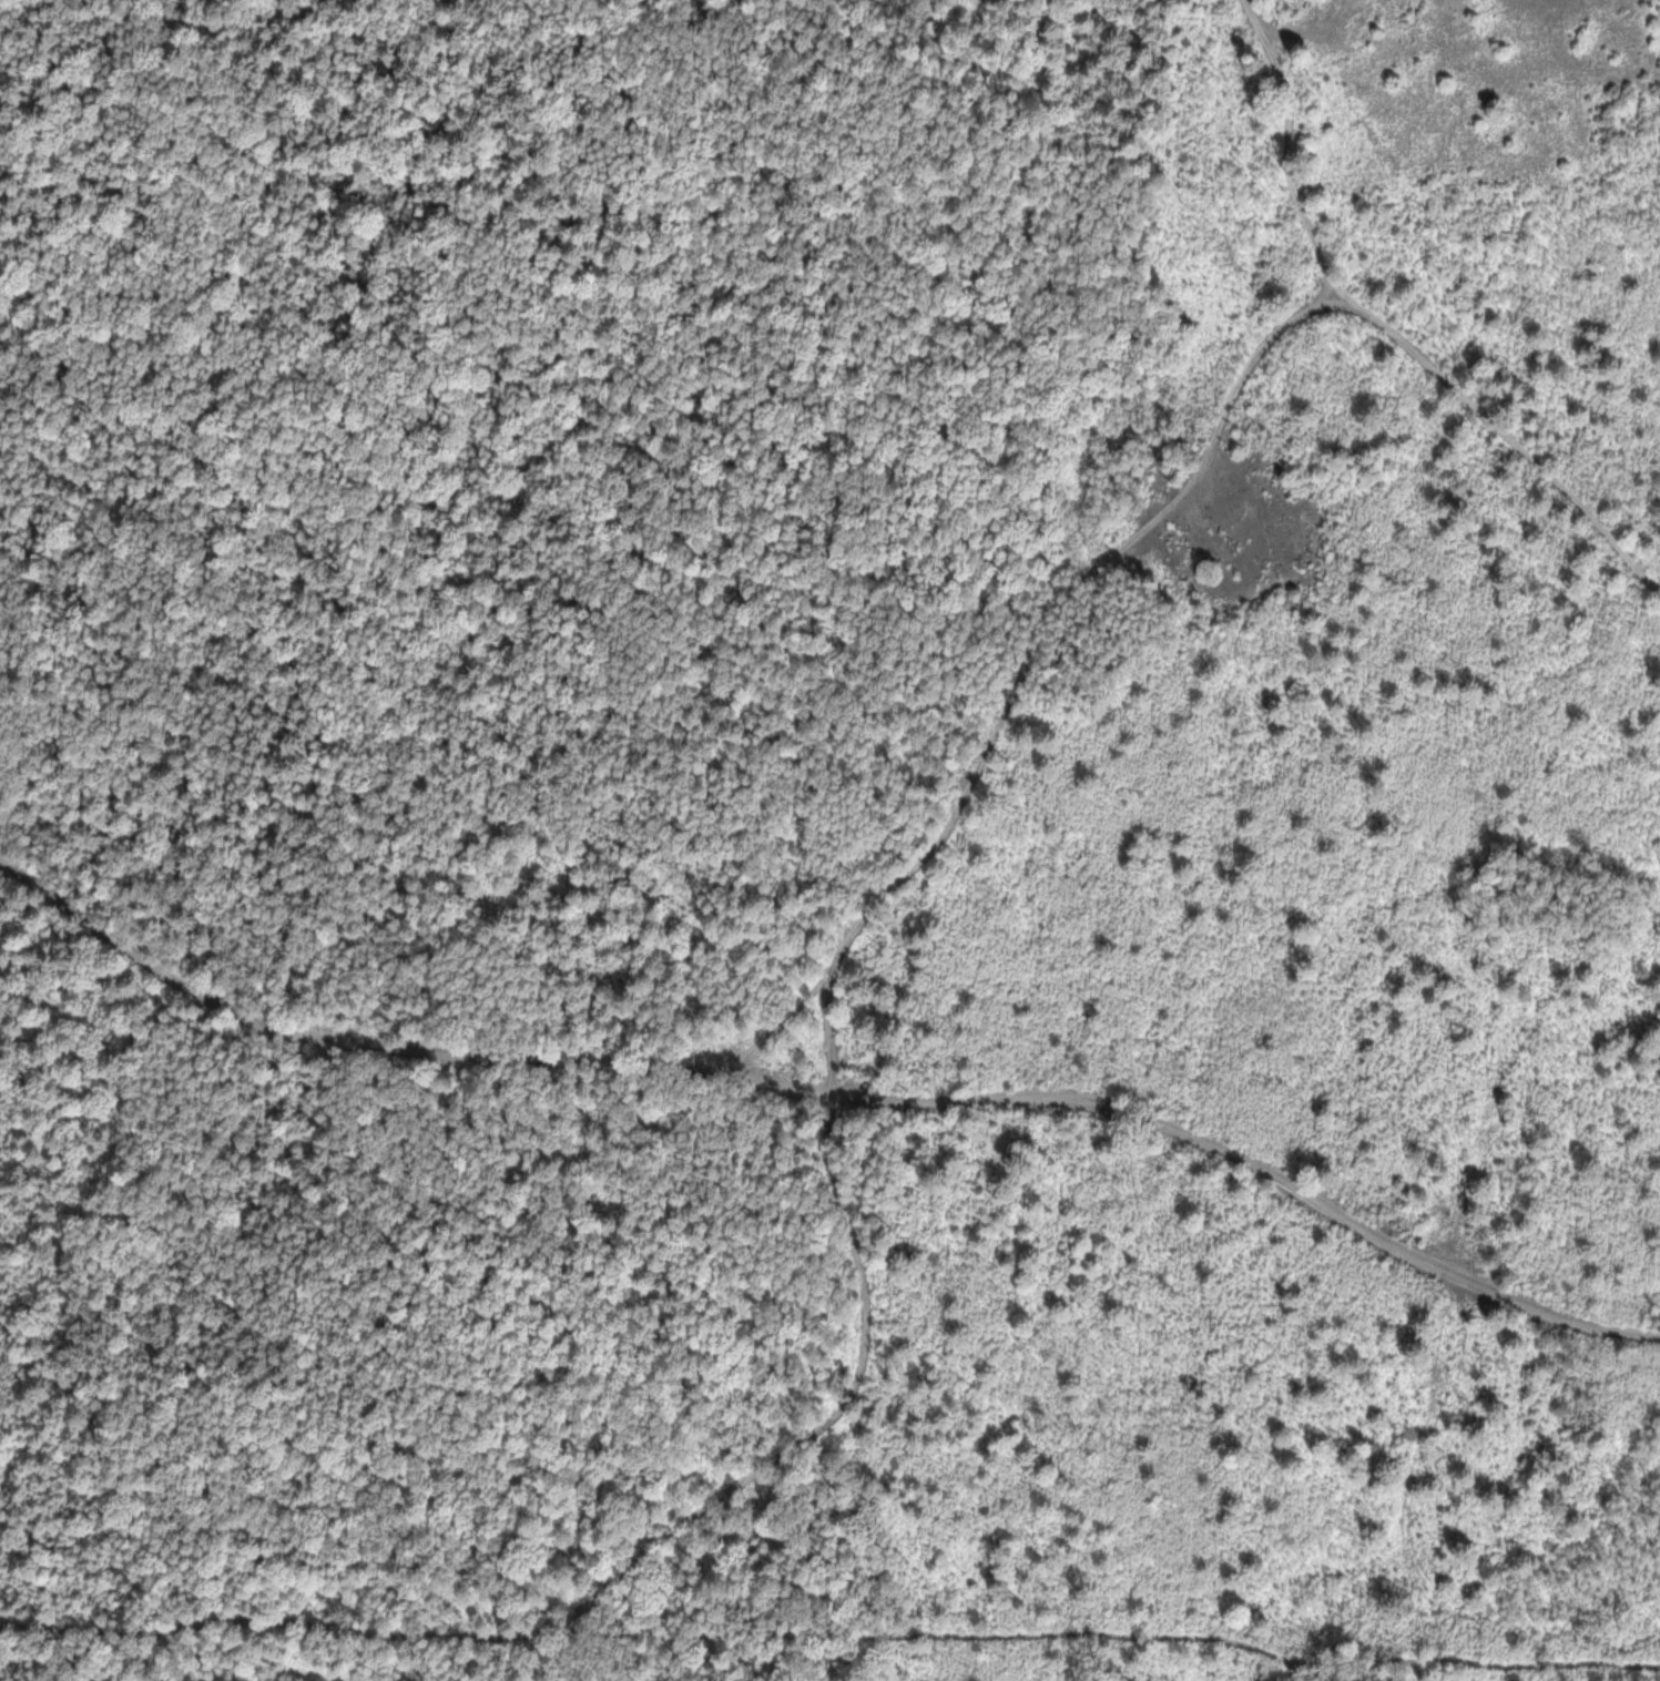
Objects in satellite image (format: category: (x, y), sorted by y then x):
road: (1388, 332)
road: (1033, 655)
road: (785, 1026)
road: (833, 1091)
road: (831, 1637)

